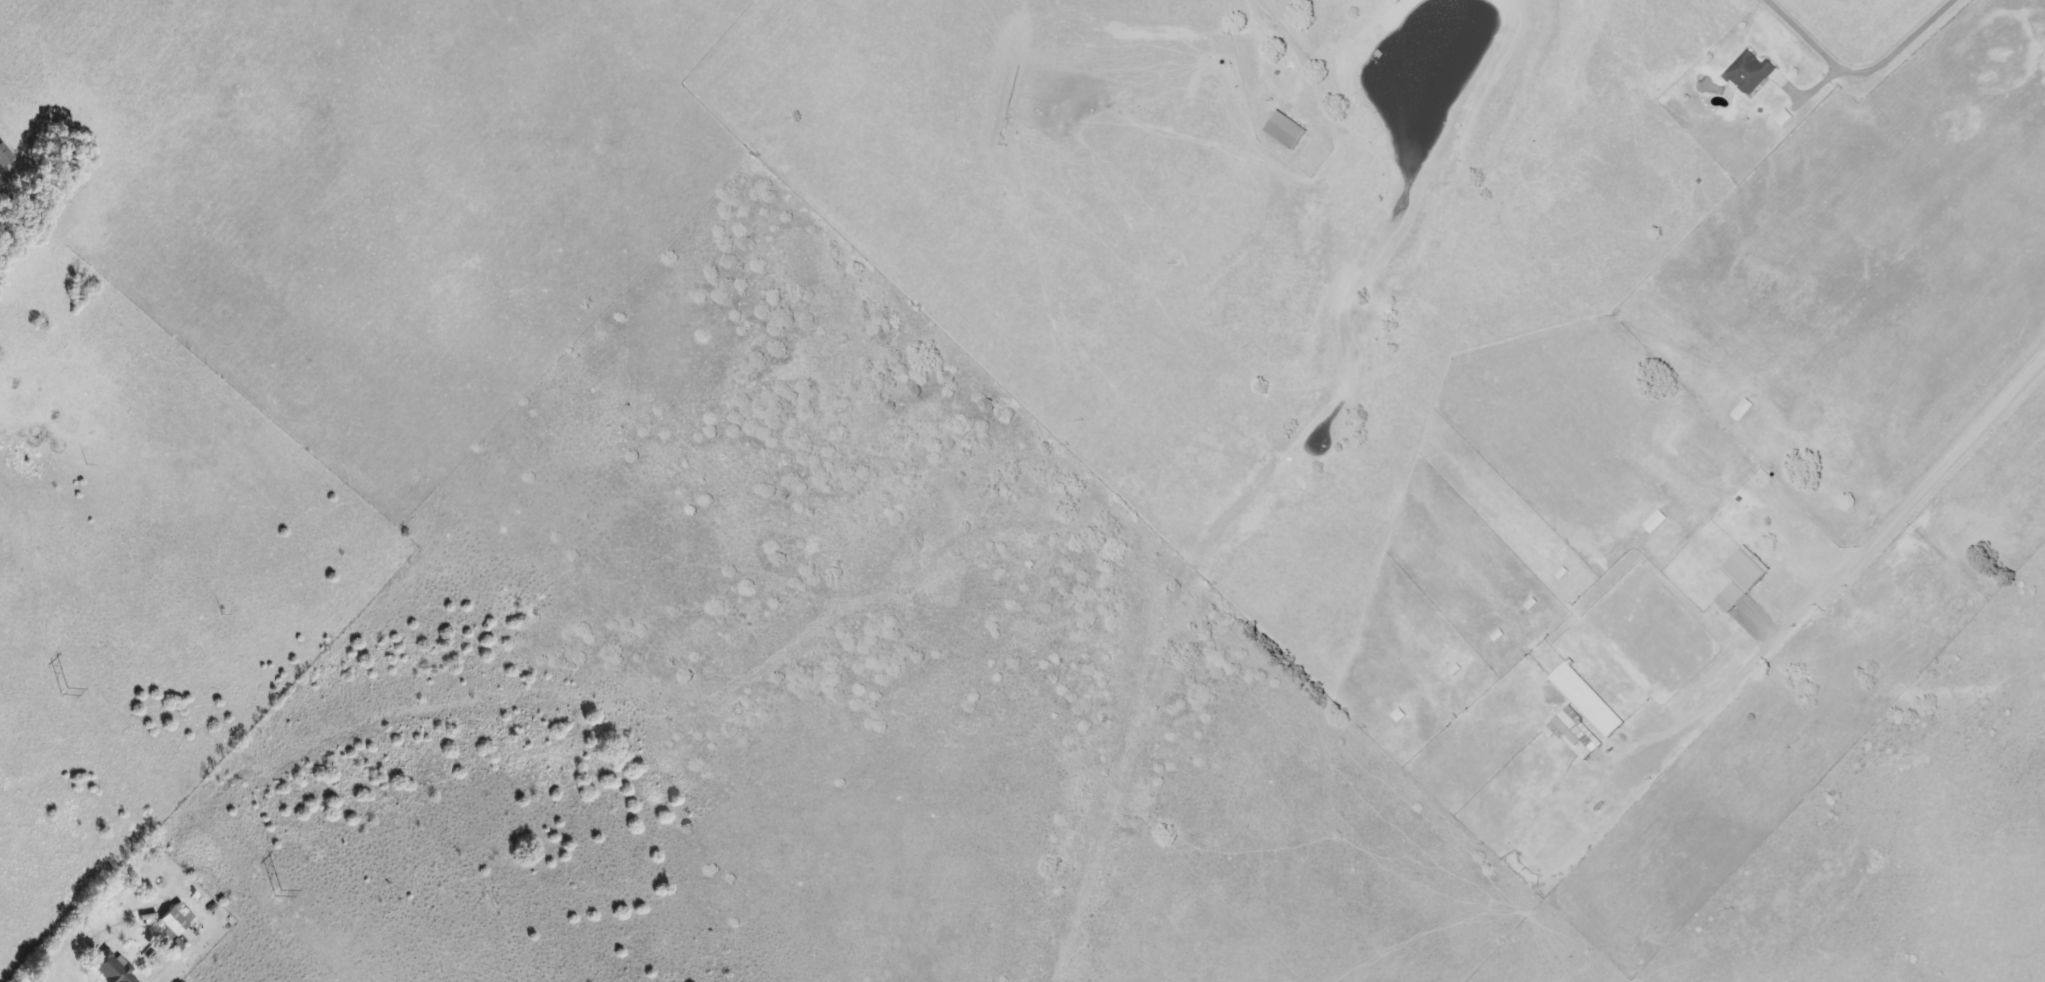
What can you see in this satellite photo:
road: (1263, 7)
building: (1752, 73)
road: (1863, 78)
building: (1786, 118)
building: (1290, 131)
building: (5, 156)
building: (1745, 410)
road: (1813, 519)
building: (1658, 521)
road: (1861, 553)
building: (1744, 578)
power tower: (57, 687)
building: (1590, 700)
building: (1579, 734)
power tower: (271, 892)
building: (177, 922)
building: (114, 967)
road: (162, 979)

